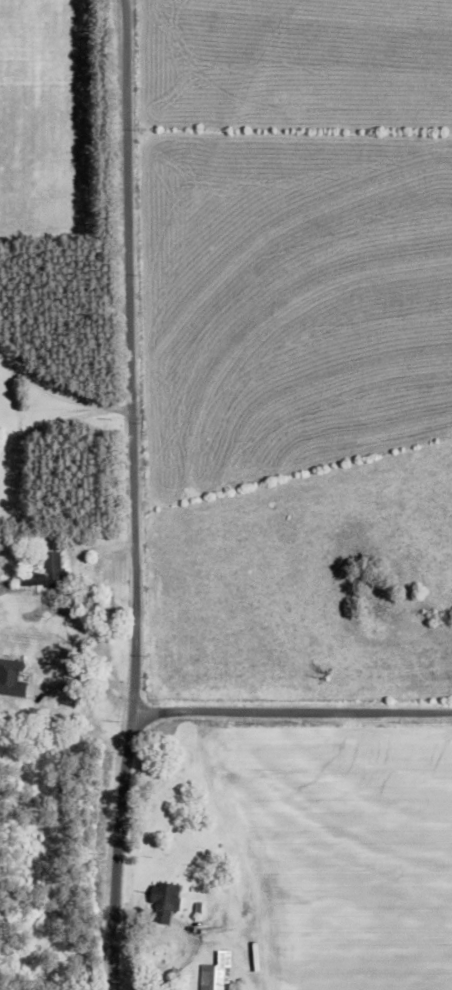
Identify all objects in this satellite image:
road: (72, 407)
road: (143, 494)
building: (50, 573)
road: (87, 679)
road: (295, 731)
road: (351, 855)
building: (168, 903)
building: (218, 974)

